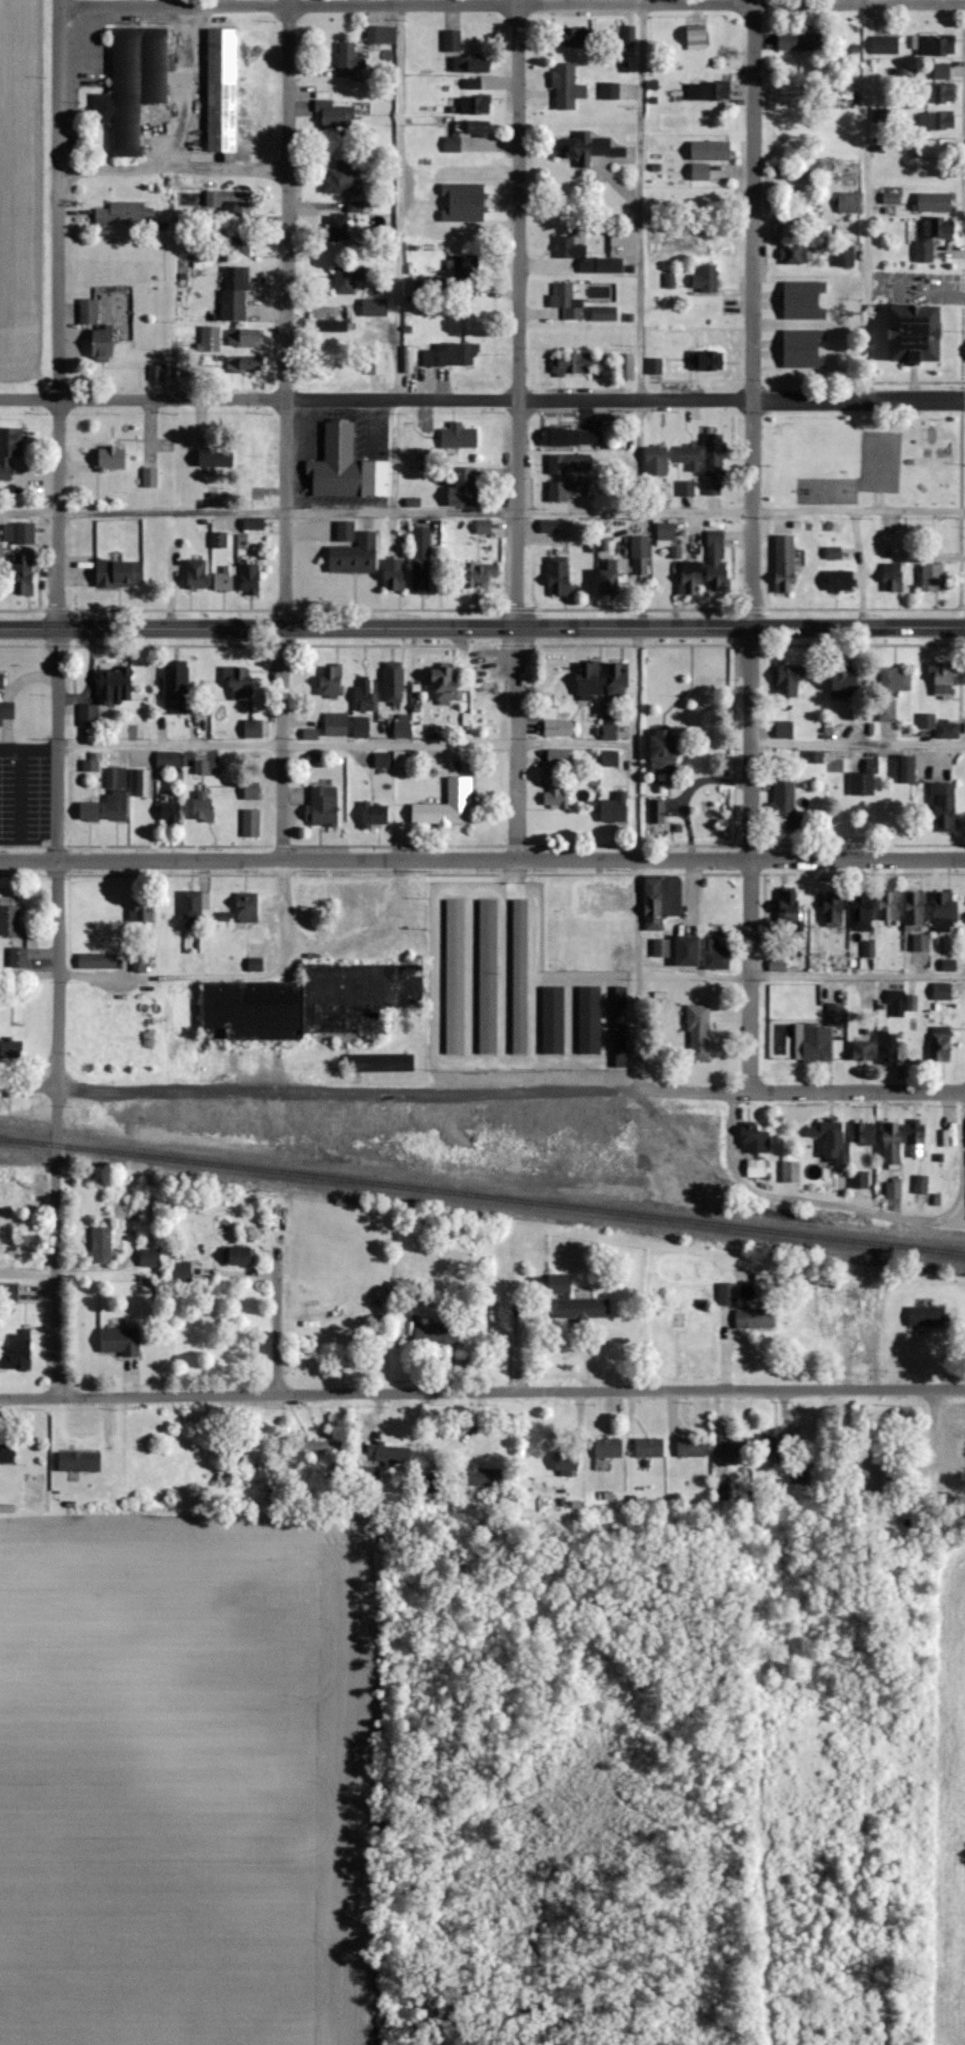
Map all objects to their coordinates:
road: (174, 2)
road: (511, 5)
building: (381, 35)
building: (570, 36)
building: (452, 40)
building: (802, 41)
building: (885, 45)
building: (935, 45)
building: (348, 60)
building: (471, 65)
building: (942, 72)
building: (474, 83)
building: (133, 85)
road: (183, 87)
building: (567, 87)
building: (222, 90)
building: (610, 91)
building: (708, 91)
building: (940, 93)
building: (845, 95)
building: (475, 105)
building: (335, 115)
building: (881, 116)
building: (936, 121)
building: (464, 134)
building: (586, 148)
building: (936, 148)
building: (710, 150)
road: (173, 170)
building: (700, 172)
building: (342, 179)
building: (702, 196)
road: (399, 199)
road: (644, 200)
road: (863, 200)
building: (891, 200)
building: (231, 202)
building: (850, 202)
building: (934, 202)
building: (470, 207)
building: (126, 214)
building: (787, 226)
building: (338, 228)
building: (932, 237)
building: (236, 242)
building: (570, 251)
building: (795, 254)
building: (844, 256)
building: (465, 269)
building: (347, 279)
building: (706, 279)
building: (433, 287)
building: (600, 291)
building: (234, 293)
building: (567, 301)
building: (375, 308)
building: (88, 312)
road: (59, 313)
road: (287, 313)
road: (519, 313)
road: (754, 313)
building: (604, 315)
building: (331, 326)
building: (915, 335)
building: (243, 338)
building: (210, 339)
building: (102, 346)
building: (799, 347)
building: (450, 355)
building: (707, 361)
building: (243, 364)
building: (576, 364)
building: (655, 365)
building: (626, 367)
building: (158, 373)
road: (482, 398)
building: (571, 437)
building: (459, 438)
building: (9, 450)
building: (255, 453)
road: (637, 456)
building: (690, 456)
building: (213, 458)
building: (110, 459)
building: (656, 461)
building: (570, 464)
building: (714, 465)
building: (346, 468)
building: (150, 478)
building: (687, 489)
building: (466, 492)
building: (557, 492)
road: (482, 511)
building: (253, 524)
building: (548, 526)
building: (483, 527)
building: (666, 531)
building: (345, 532)
building: (18, 534)
building: (834, 553)
building: (354, 556)
building: (640, 556)
building: (914, 556)
building: (421, 561)
building: (716, 561)
building: (785, 564)
road: (861, 568)
building: (119, 574)
building: (196, 574)
building: (479, 574)
building: (23, 576)
building: (394, 576)
building: (559, 577)
building: (691, 578)
building: (933, 578)
building: (250, 579)
building: (225, 580)
building: (839, 580)
building: (608, 583)
building: (894, 584)
road: (482, 627)
building: (588, 678)
building: (618, 678)
building: (943, 678)
building: (331, 679)
building: (896, 679)
building: (1, 680)
building: (789, 680)
building: (238, 681)
building: (845, 681)
building: (446, 683)
building: (116, 685)
building: (394, 685)
building: (176, 689)
building: (364, 695)
building: (6, 710)
building: (887, 710)
building: (88, 715)
building: (336, 724)
building: (558, 724)
building: (939, 726)
building: (361, 727)
building: (253, 728)
building: (785, 728)
building: (402, 729)
building: (609, 732)
road: (517, 741)
road: (638, 742)
road: (284, 743)
road: (858, 744)
road: (347, 745)
building: (663, 750)
road: (29, 751)
building: (558, 756)
building: (610, 758)
building: (169, 759)
building: (403, 759)
building: (382, 760)
building: (908, 768)
building: (865, 780)
building: (251, 790)
building: (116, 794)
road: (19, 796)
building: (556, 797)
building: (784, 802)
building: (202, 805)
building: (448, 805)
building: (944, 805)
building: (324, 806)
building: (143, 807)
building: (89, 808)
building: (614, 808)
building: (170, 811)
building: (657, 811)
building: (374, 815)
building: (251, 822)
road: (482, 857)
road: (753, 859)
building: (660, 900)
building: (192, 905)
building: (889, 905)
building: (247, 906)
building: (789, 906)
building: (834, 906)
building: (915, 910)
building: (944, 910)
building: (862, 911)
building: (142, 913)
building: (9, 920)
building: (921, 942)
building: (661, 947)
building: (702, 952)
building: (18, 957)
building: (97, 960)
building: (139, 962)
road: (859, 973)
building: (454, 976)
building: (488, 976)
building: (520, 976)
road: (225, 980)
building: (942, 990)
building: (312, 1002)
building: (896, 1002)
road: (59, 1012)
building: (699, 1032)
building: (821, 1034)
building: (940, 1042)
building: (11, 1046)
building: (888, 1046)
building: (863, 1050)
building: (380, 1062)
road: (482, 1097)
building: (864, 1133)
building: (755, 1141)
building: (831, 1141)
building: (916, 1142)
building: (891, 1143)
building: (755, 1167)
building: (791, 1171)
building: (859, 1179)
building: (921, 1183)
building: (893, 1189)
railway: (482, 1194)
road: (856, 1212)
building: (102, 1245)
building: (241, 1256)
building: (149, 1257)
building: (181, 1272)
building: (8, 1292)
building: (727, 1293)
building: (576, 1301)
building: (926, 1316)
building: (755, 1318)
road: (277, 1330)
building: (436, 1333)
building: (119, 1342)
building: (18, 1351)
road: (482, 1391)
building: (319, 1445)
building: (691, 1446)
building: (733, 1446)
building: (770, 1446)
building: (649, 1447)
building: (608, 1448)
building: (959, 1448)
building: (7, 1451)
building: (234, 1454)
building: (392, 1454)
building: (79, 1461)
building: (566, 1461)
building: (868, 1471)
building: (800, 1474)
building: (479, 1475)
building: (368, 1476)
building: (434, 1482)
building: (952, 1484)

